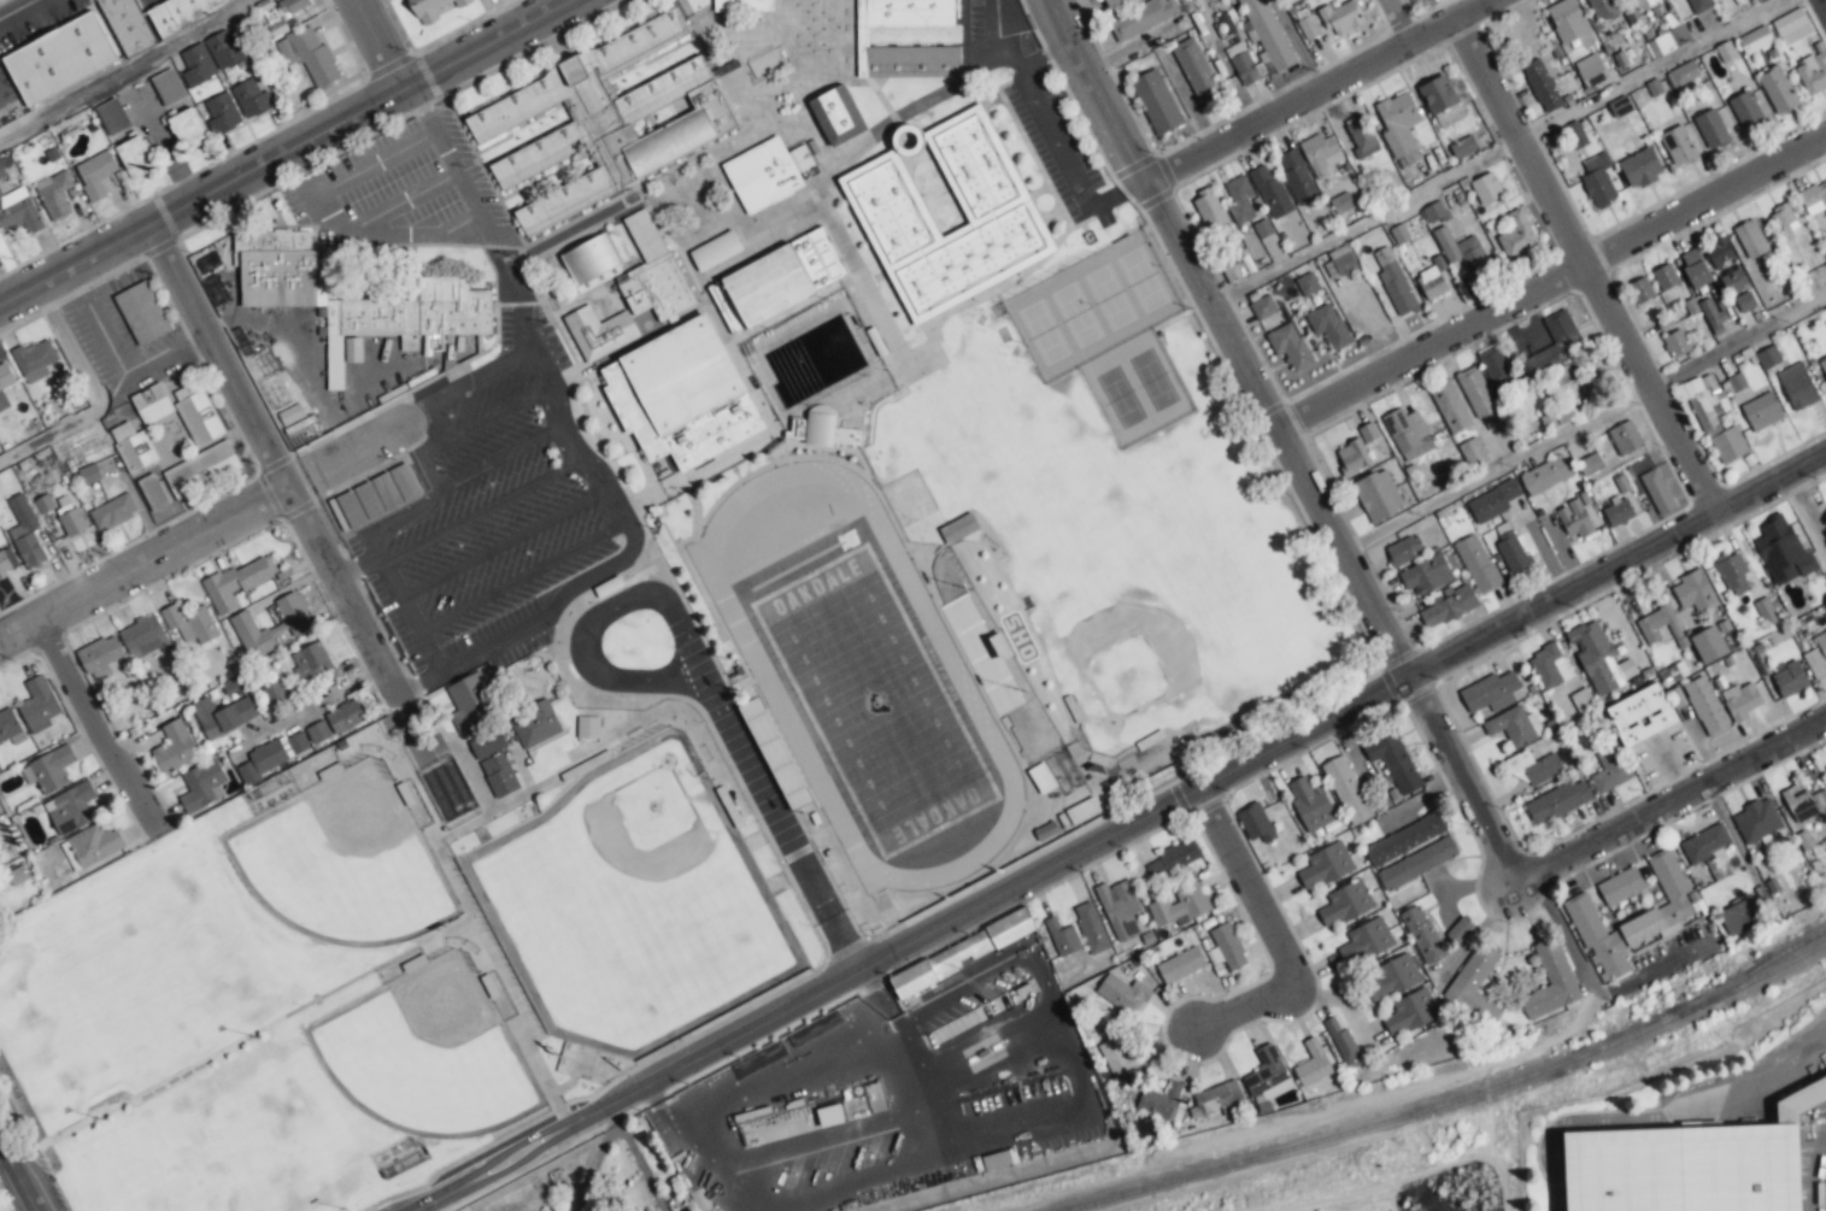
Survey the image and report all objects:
building: (1756, 0)
building: (1110, 1)
building: (1642, 4)
building: (292, 5)
building: (742, 5)
road: (1011, 5)
building: (1698, 5)
road: (1822, 5)
building: (431, 8)
building: (1602, 8)
building: (182, 13)
building: (1340, 17)
building: (1141, 18)
building: (1567, 20)
road: (1407, 22)
building: (128, 25)
building: (1791, 27)
building: (1267, 34)
building: (862, 36)
building: (1667, 40)
building: (1755, 40)
road: (383, 46)
road: (1293, 48)
building: (309, 57)
building: (60, 58)
building: (211, 58)
road: (1044, 58)
building: (1243, 65)
building: (1814, 70)
road: (127, 71)
building: (1590, 71)
building: (1196, 72)
building: (1683, 75)
building: (168, 87)
building: (1542, 87)
building: (1778, 90)
road: (1327, 93)
building: (1437, 95)
building: (251, 99)
building: (1156, 102)
building: (1746, 111)
building: (221, 113)
building: (836, 116)
building: (112, 117)
building: (606, 120)
building: (1399, 128)
building: (188, 129)
building: (1711, 129)
road: (1046, 135)
building: (1361, 136)
building: (1678, 146)
building: (1463, 147)
road: (1498, 148)
building: (1321, 153)
road: (288, 154)
building: (135, 158)
road: (372, 163)
building: (1640, 169)
building: (1, 171)
building: (767, 174)
building: (95, 175)
building: (1296, 176)
building: (1598, 181)
building: (1485, 188)
building: (1270, 193)
building: (54, 194)
building: (1814, 199)
building: (1239, 200)
road: (394, 201)
building: (1341, 202)
building: (18, 211)
building: (1210, 212)
building: (946, 213)
building: (1435, 214)
building: (1784, 222)
road: (363, 233)
building: (1515, 235)
building: (1750, 240)
building: (715, 251)
building: (1462, 251)
building: (1719, 253)
building: (589, 259)
building: (1341, 260)
road: (1590, 268)
building: (1693, 269)
building: (1232, 274)
building: (1664, 277)
building: (598, 280)
building: (774, 281)
building: (1392, 282)
building: (1432, 282)
building: (1734, 282)
building: (1307, 284)
road: (1556, 287)
building: (657, 288)
building: (1640, 290)
building: (1745, 301)
building: (1262, 307)
building: (141, 312)
building: (407, 321)
building: (1328, 327)
building: (599, 333)
building: (1557, 339)
building: (1677, 343)
building: (1291, 348)
building: (1768, 358)
building: (34, 360)
road: (117, 365)
building: (1822, 366)
building: (1496, 370)
building: (1567, 380)
building: (1736, 382)
road: (468, 383)
building: (4, 384)
building: (1797, 386)
building: (681, 395)
road: (94, 396)
building: (1479, 398)
building: (152, 404)
building: (1450, 406)
building: (1761, 411)
building: (196, 413)
building: (290, 415)
road: (493, 416)
building: (1556, 417)
road: (1587, 417)
building: (1714, 419)
building: (797, 428)
building: (828, 429)
building: (1368, 433)
road: (1288, 434)
building: (1408, 434)
building: (1625, 437)
building: (133, 447)
road: (583, 447)
building: (0, 449)
building: (1472, 452)
road: (348, 454)
road: (501, 457)
building: (1352, 457)
building: (1590, 464)
building: (201, 470)
building: (1545, 475)
road: (429, 482)
building: (1657, 492)
building: (152, 493)
road: (290, 493)
building: (1378, 495)
road: (1812, 496)
building: (375, 498)
building: (1492, 501)
road: (483, 510)
building: (112, 512)
building: (1617, 513)
building: (1574, 519)
building: (71, 521)
building: (958, 528)
building: (24, 533)
road: (503, 545)
building: (1403, 551)
building: (1510, 551)
building: (1781, 552)
building: (6, 562)
road: (143, 563)
building: (1476, 564)
road: (356, 571)
building: (1732, 572)
building: (1426, 575)
road: (519, 578)
building: (236, 582)
building: (1693, 590)
road: (400, 605)
building: (1448, 607)
building: (1825, 617)
building: (189, 623)
road: (589, 623)
building: (295, 624)
building: (1658, 625)
building: (142, 637)
building: (1708, 645)
building: (100, 657)
building: (1818, 657)
building: (1598, 659)
building: (311, 663)
building: (1549, 668)
road: (759, 671)
track: (759, 671)
building: (1789, 680)
building: (1490, 693)
park: (873, 700)
building: (1740, 700)
building: (470, 703)
road: (313, 704)
building: (39, 705)
building: (1705, 706)
building: (1640, 715)
building: (222, 716)
building: (345, 717)
building: (7, 724)
building: (535, 725)
building: (1514, 725)
road: (94, 727)
building: (587, 727)
building: (318, 733)
building: (487, 745)
building: (174, 747)
building: (271, 757)
building: (1393, 760)
building: (1539, 768)
building: (1610, 769)
building: (49, 770)
building: (498, 775)
building: (1040, 778)
road: (1216, 782)
building: (201, 786)
building: (1346, 790)
road: (1678, 795)
building: (1557, 801)
building: (1803, 803)
building: (1310, 805)
building: (70, 809)
building: (1081, 811)
building: (1756, 821)
building: (1256, 823)
road: (780, 824)
building: (1404, 840)
building: (92, 846)
building: (1707, 846)
building: (1173, 859)
park: (344, 860)
building: (1417, 864)
building: (1325, 866)
building: (16, 874)
road: (1258, 880)
building: (1620, 887)
park: (634, 898)
building: (1345, 903)
building: (1180, 905)
building: (1119, 909)
building: (1737, 917)
building: (1649, 923)
road: (1561, 925)
building: (1010, 928)
building: (1090, 928)
building: (1458, 930)
building: (1422, 935)
building: (1062, 937)
building: (1366, 942)
building: (1226, 947)
building: (1180, 965)
railway: (1755, 969)
building: (1390, 978)
building: (1550, 982)
building: (911, 984)
building: (1474, 987)
building: (1122, 994)
road: (1338, 999)
road: (1253, 1005)
building: (1410, 1012)
building: (1343, 1044)
park: (428, 1050)
building: (1119, 1056)
building: (1311, 1064)
road: (797, 1072)
building: (1267, 1072)
building: (1217, 1098)
railway: (1452, 1100)
road: (609, 1110)
road: (1664, 1115)
road: (505, 1158)
building: (1681, 1163)
road: (19, 1172)

